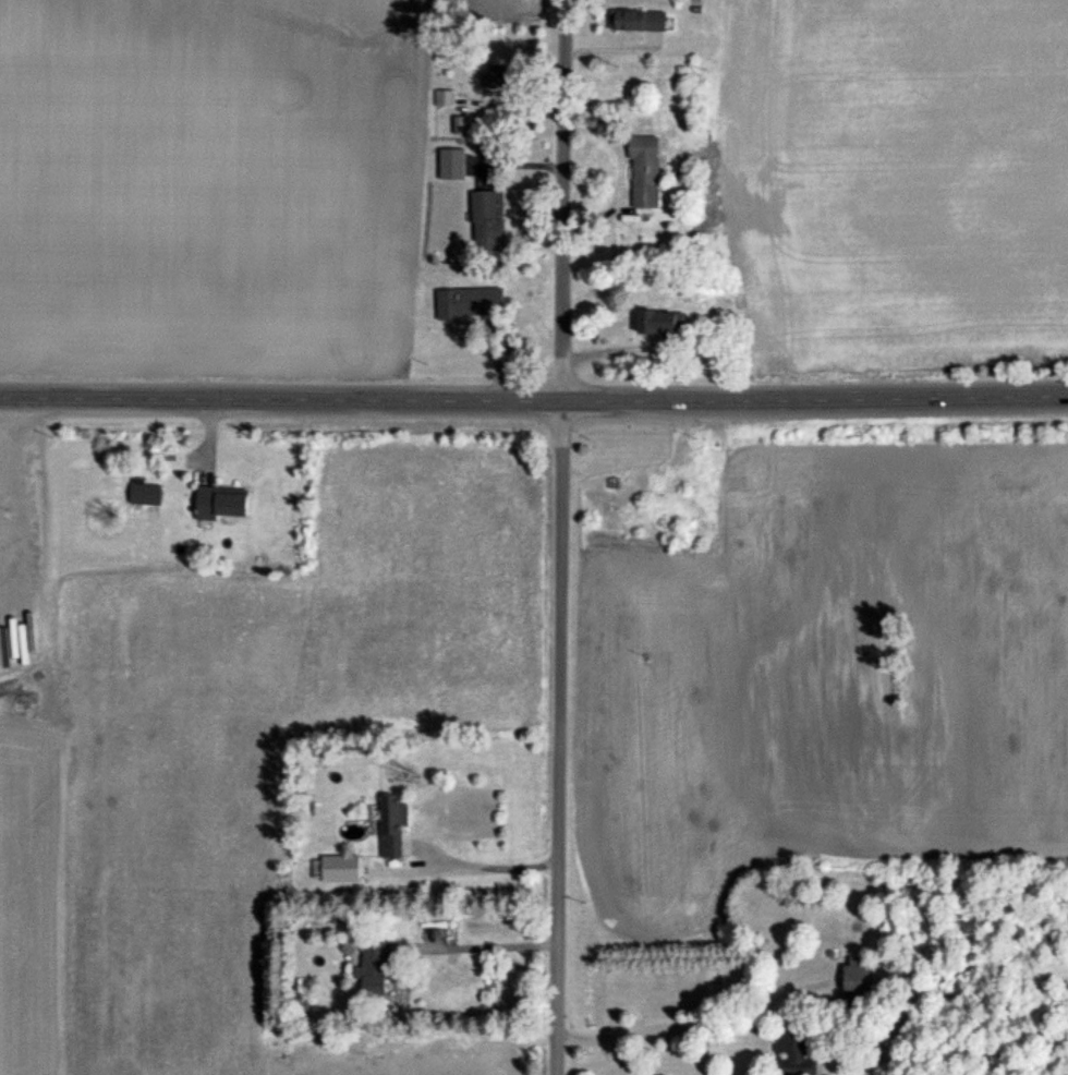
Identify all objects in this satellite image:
building: (636, 23)
building: (496, 78)
building: (444, 99)
building: (460, 126)
building: (451, 165)
building: (643, 173)
road: (561, 202)
building: (485, 218)
building: (468, 304)
building: (659, 325)
road: (534, 403)
building: (139, 497)
building: (216, 505)
road: (554, 739)
building: (388, 826)
road: (485, 868)
building: (337, 869)
road: (489, 949)
building: (369, 969)
building: (855, 979)
road: (669, 1032)
building: (791, 1052)

